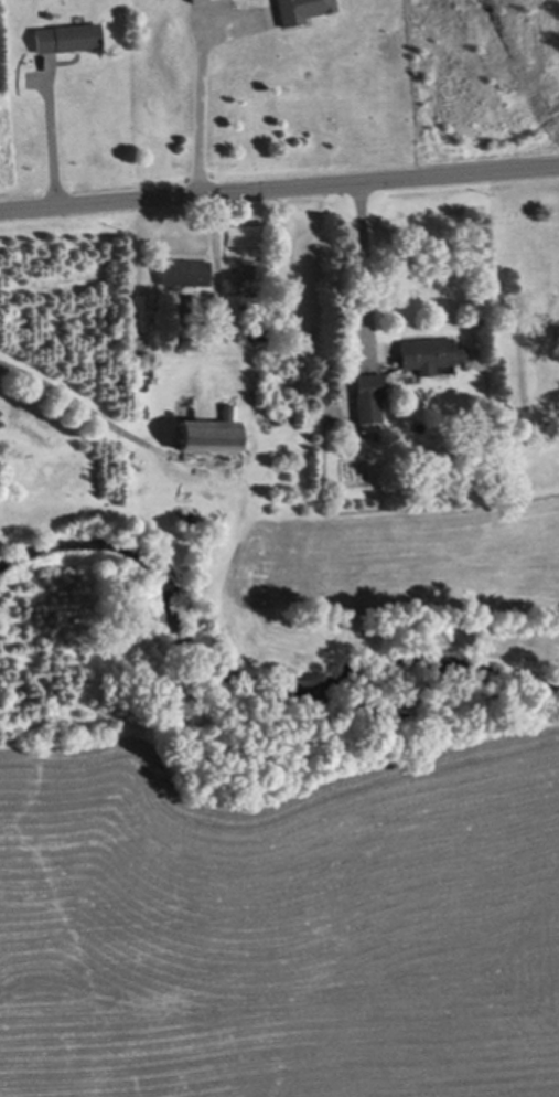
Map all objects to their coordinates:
building: (191, 0)
building: (303, 9)
building: (69, 34)
road: (198, 106)
road: (50, 137)
road: (279, 185)
road: (215, 252)
road: (365, 266)
building: (185, 270)
building: (185, 301)
building: (273, 324)
building: (255, 331)
building: (174, 333)
building: (430, 350)
building: (370, 398)
road: (105, 418)
building: (213, 429)
river: (237, 692)

